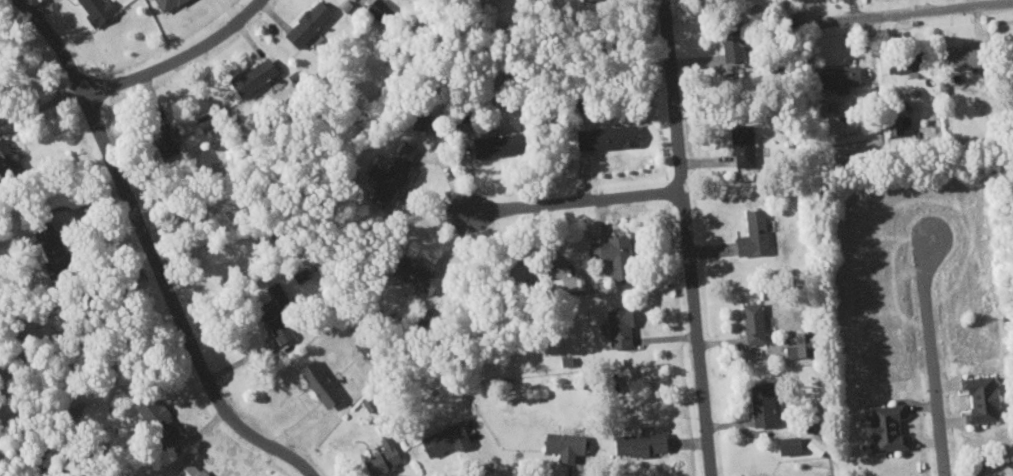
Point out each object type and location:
building: (164, 4)
building: (376, 8)
building: (94, 10)
road: (915, 10)
building: (305, 23)
building: (728, 40)
road: (174, 57)
building: (958, 57)
building: (902, 60)
building: (250, 76)
building: (838, 77)
building: (417, 119)
building: (899, 126)
building: (605, 136)
building: (162, 139)
building: (492, 144)
building: (740, 144)
building: (4, 153)
building: (392, 168)
road: (575, 200)
building: (41, 229)
building: (751, 234)
road: (687, 237)
road: (150, 253)
building: (610, 254)
building: (409, 274)
building: (565, 283)
building: (273, 311)
building: (751, 322)
building: (617, 326)
building: (794, 345)
road: (931, 357)
building: (317, 382)
building: (978, 398)
building: (759, 404)
building: (155, 416)
building: (884, 427)
building: (441, 439)
building: (638, 443)
building: (786, 444)
building: (562, 445)
building: (380, 456)
road: (259, 460)
building: (188, 469)
building: (1003, 475)

